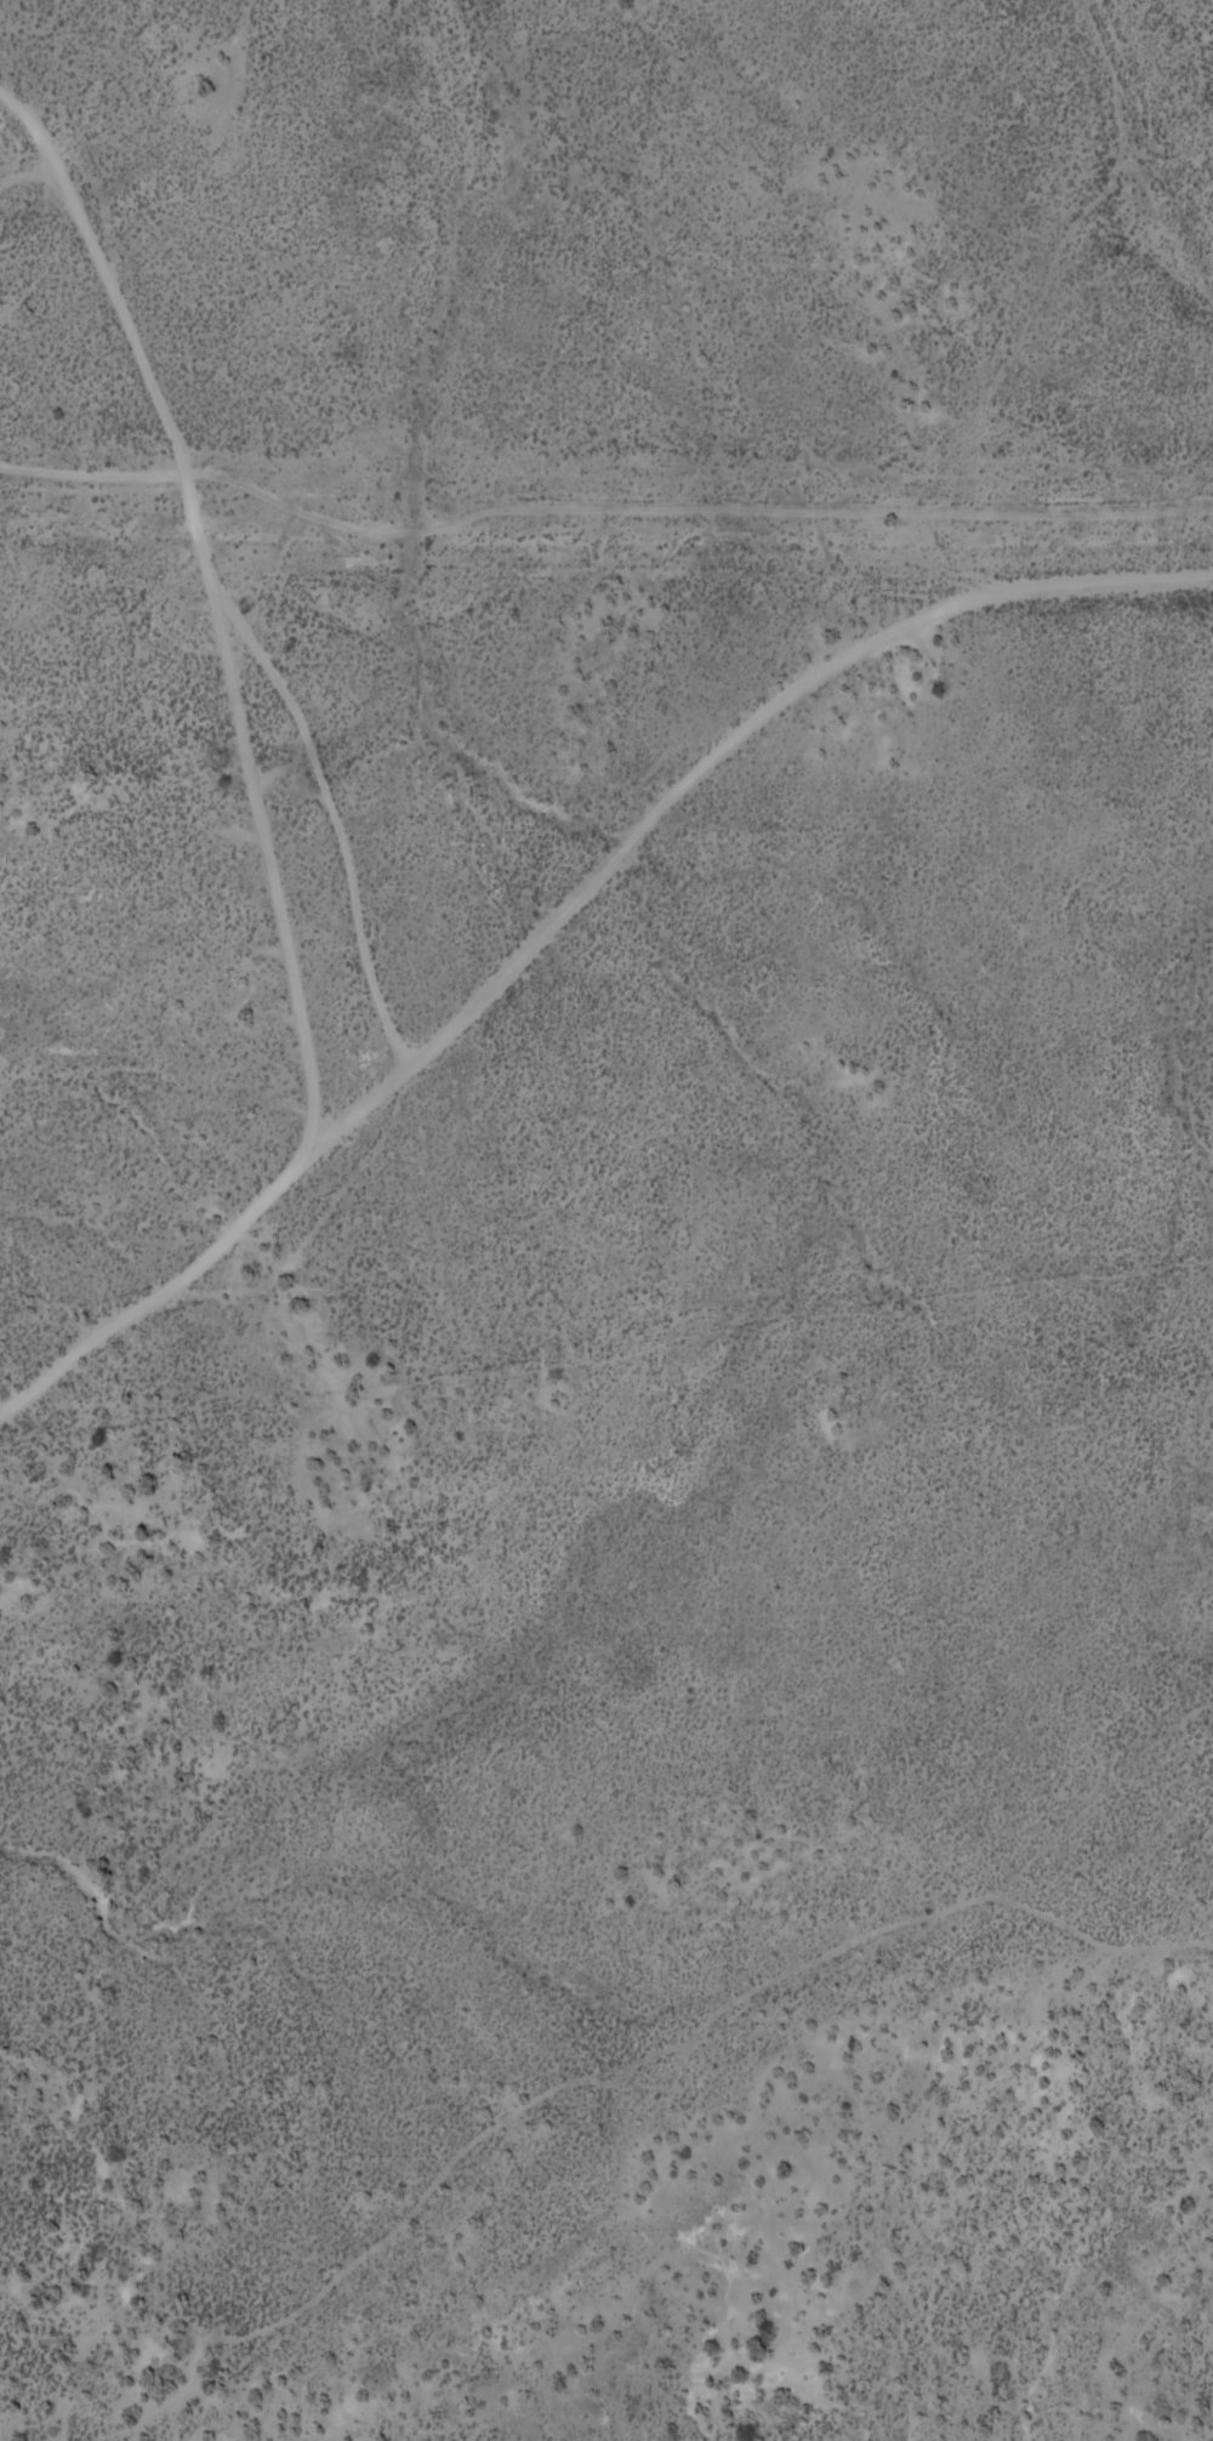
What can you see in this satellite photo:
road: (212, 554)
road: (758, 718)
road: (213, 1246)

